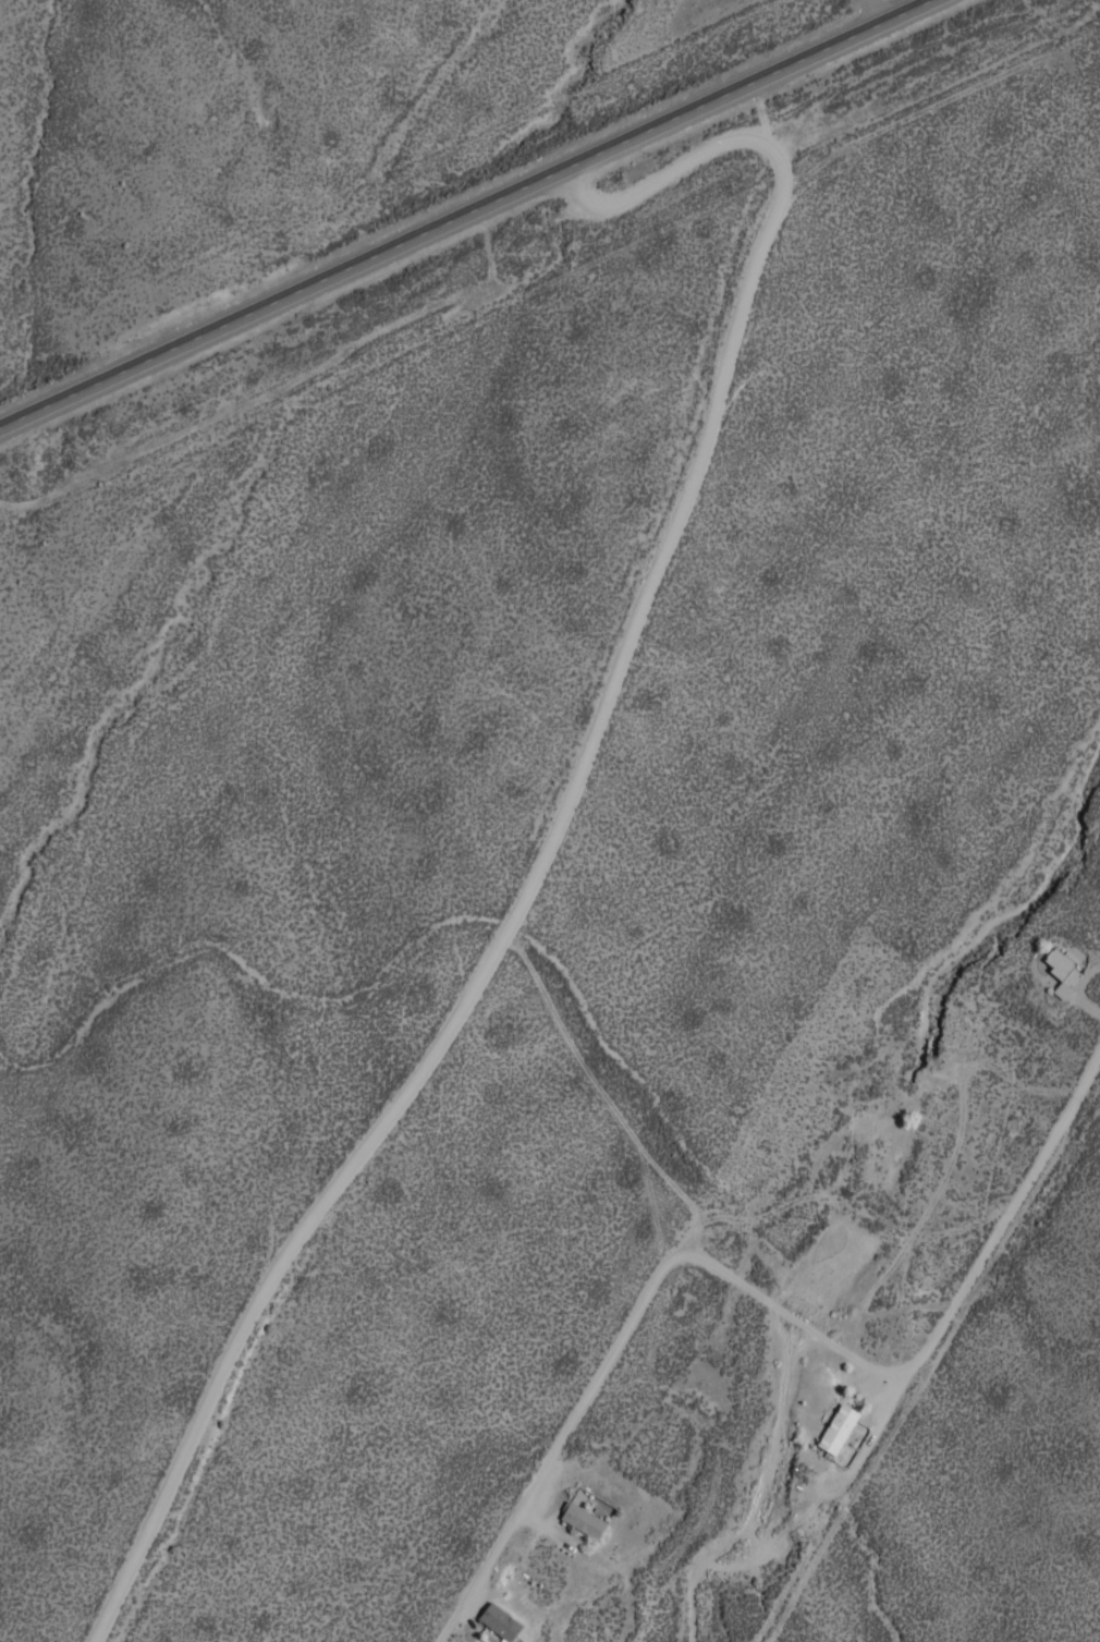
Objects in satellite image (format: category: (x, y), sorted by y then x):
road: (463, 211)
road: (565, 813)
road: (761, 1299)
building: (838, 1427)
building: (583, 1519)
building: (500, 1620)

